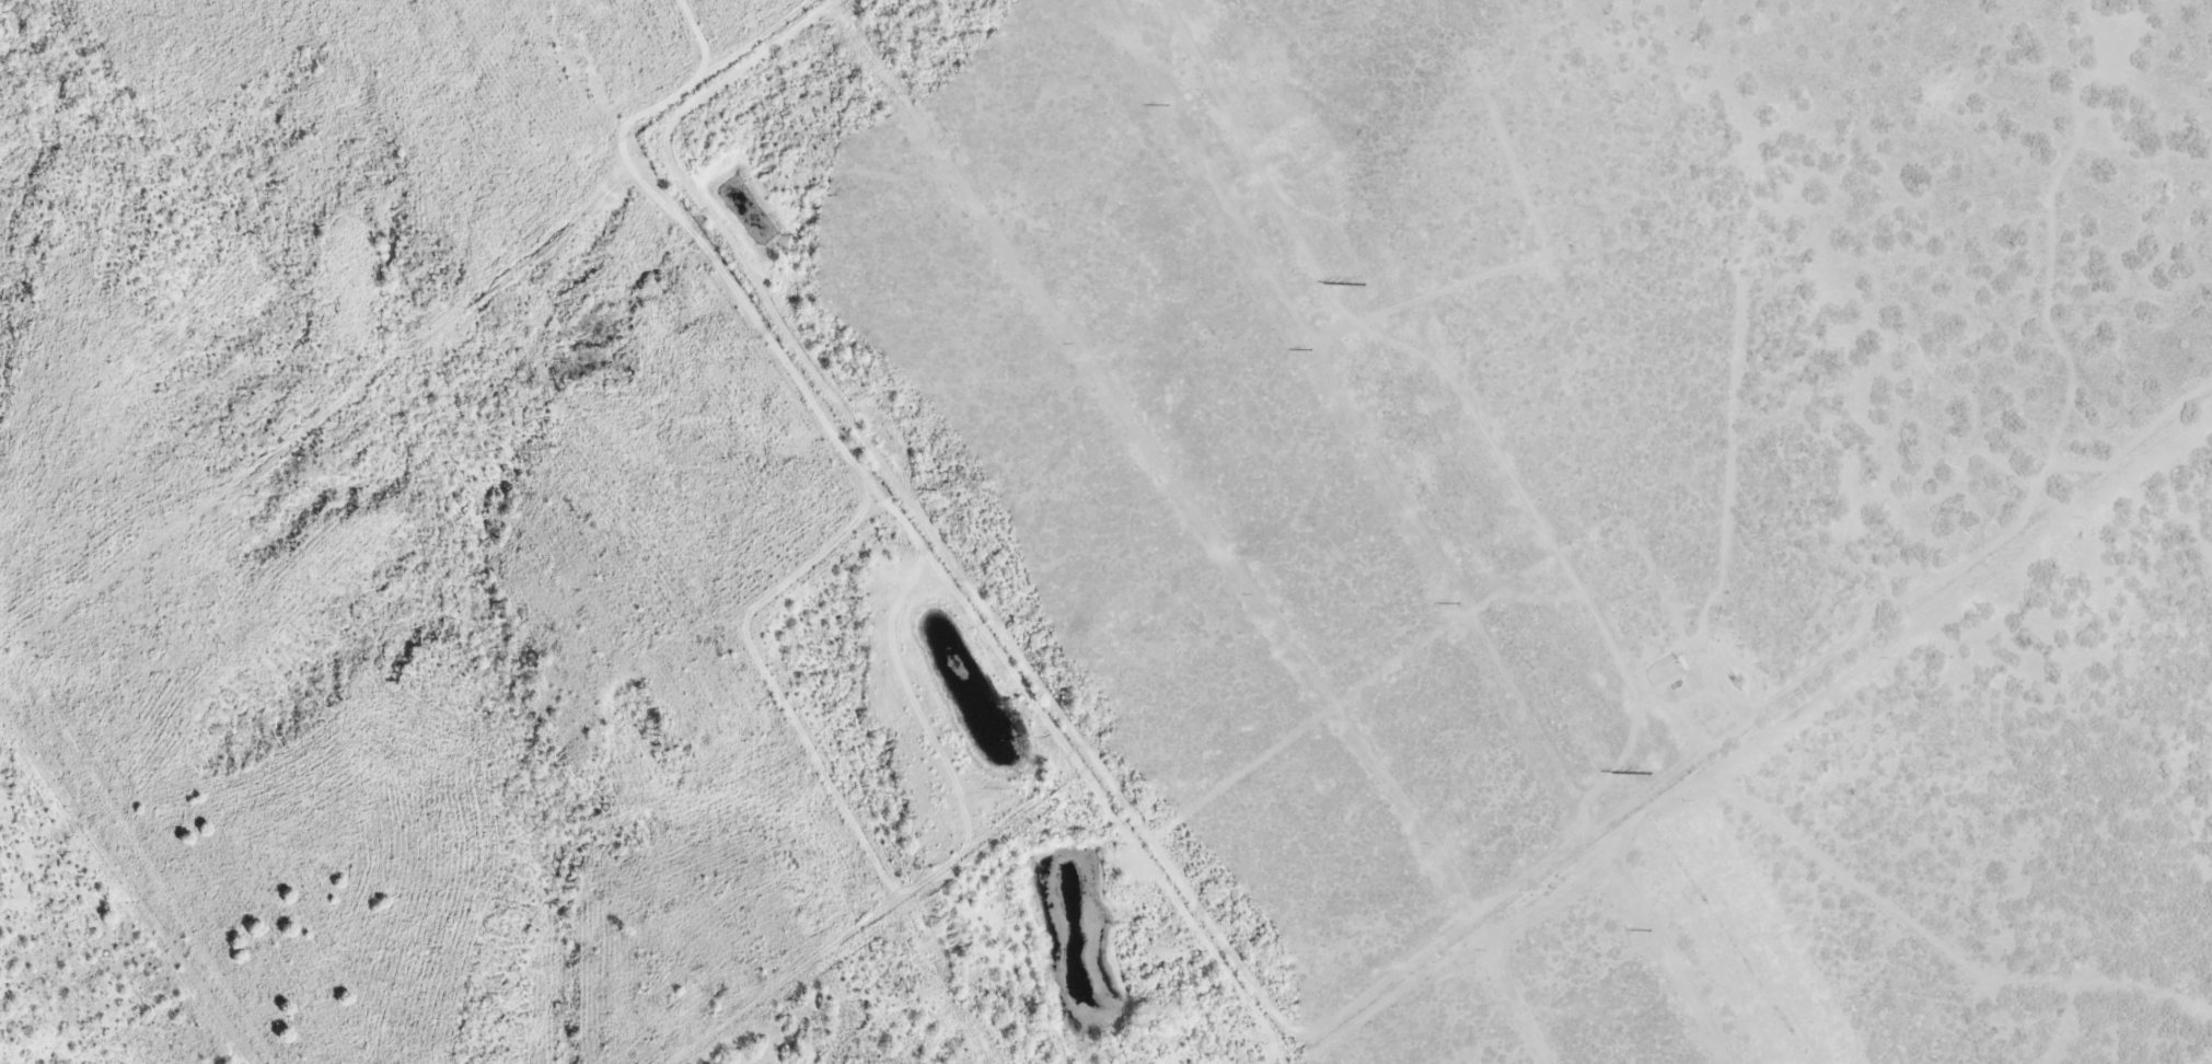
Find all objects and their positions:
power tower: (1167, 106)
power tower: (1363, 285)
power tower: (1310, 351)
power tower: (1458, 604)
power tower: (1647, 774)
road: (1866, 829)
power tower: (1648, 932)

